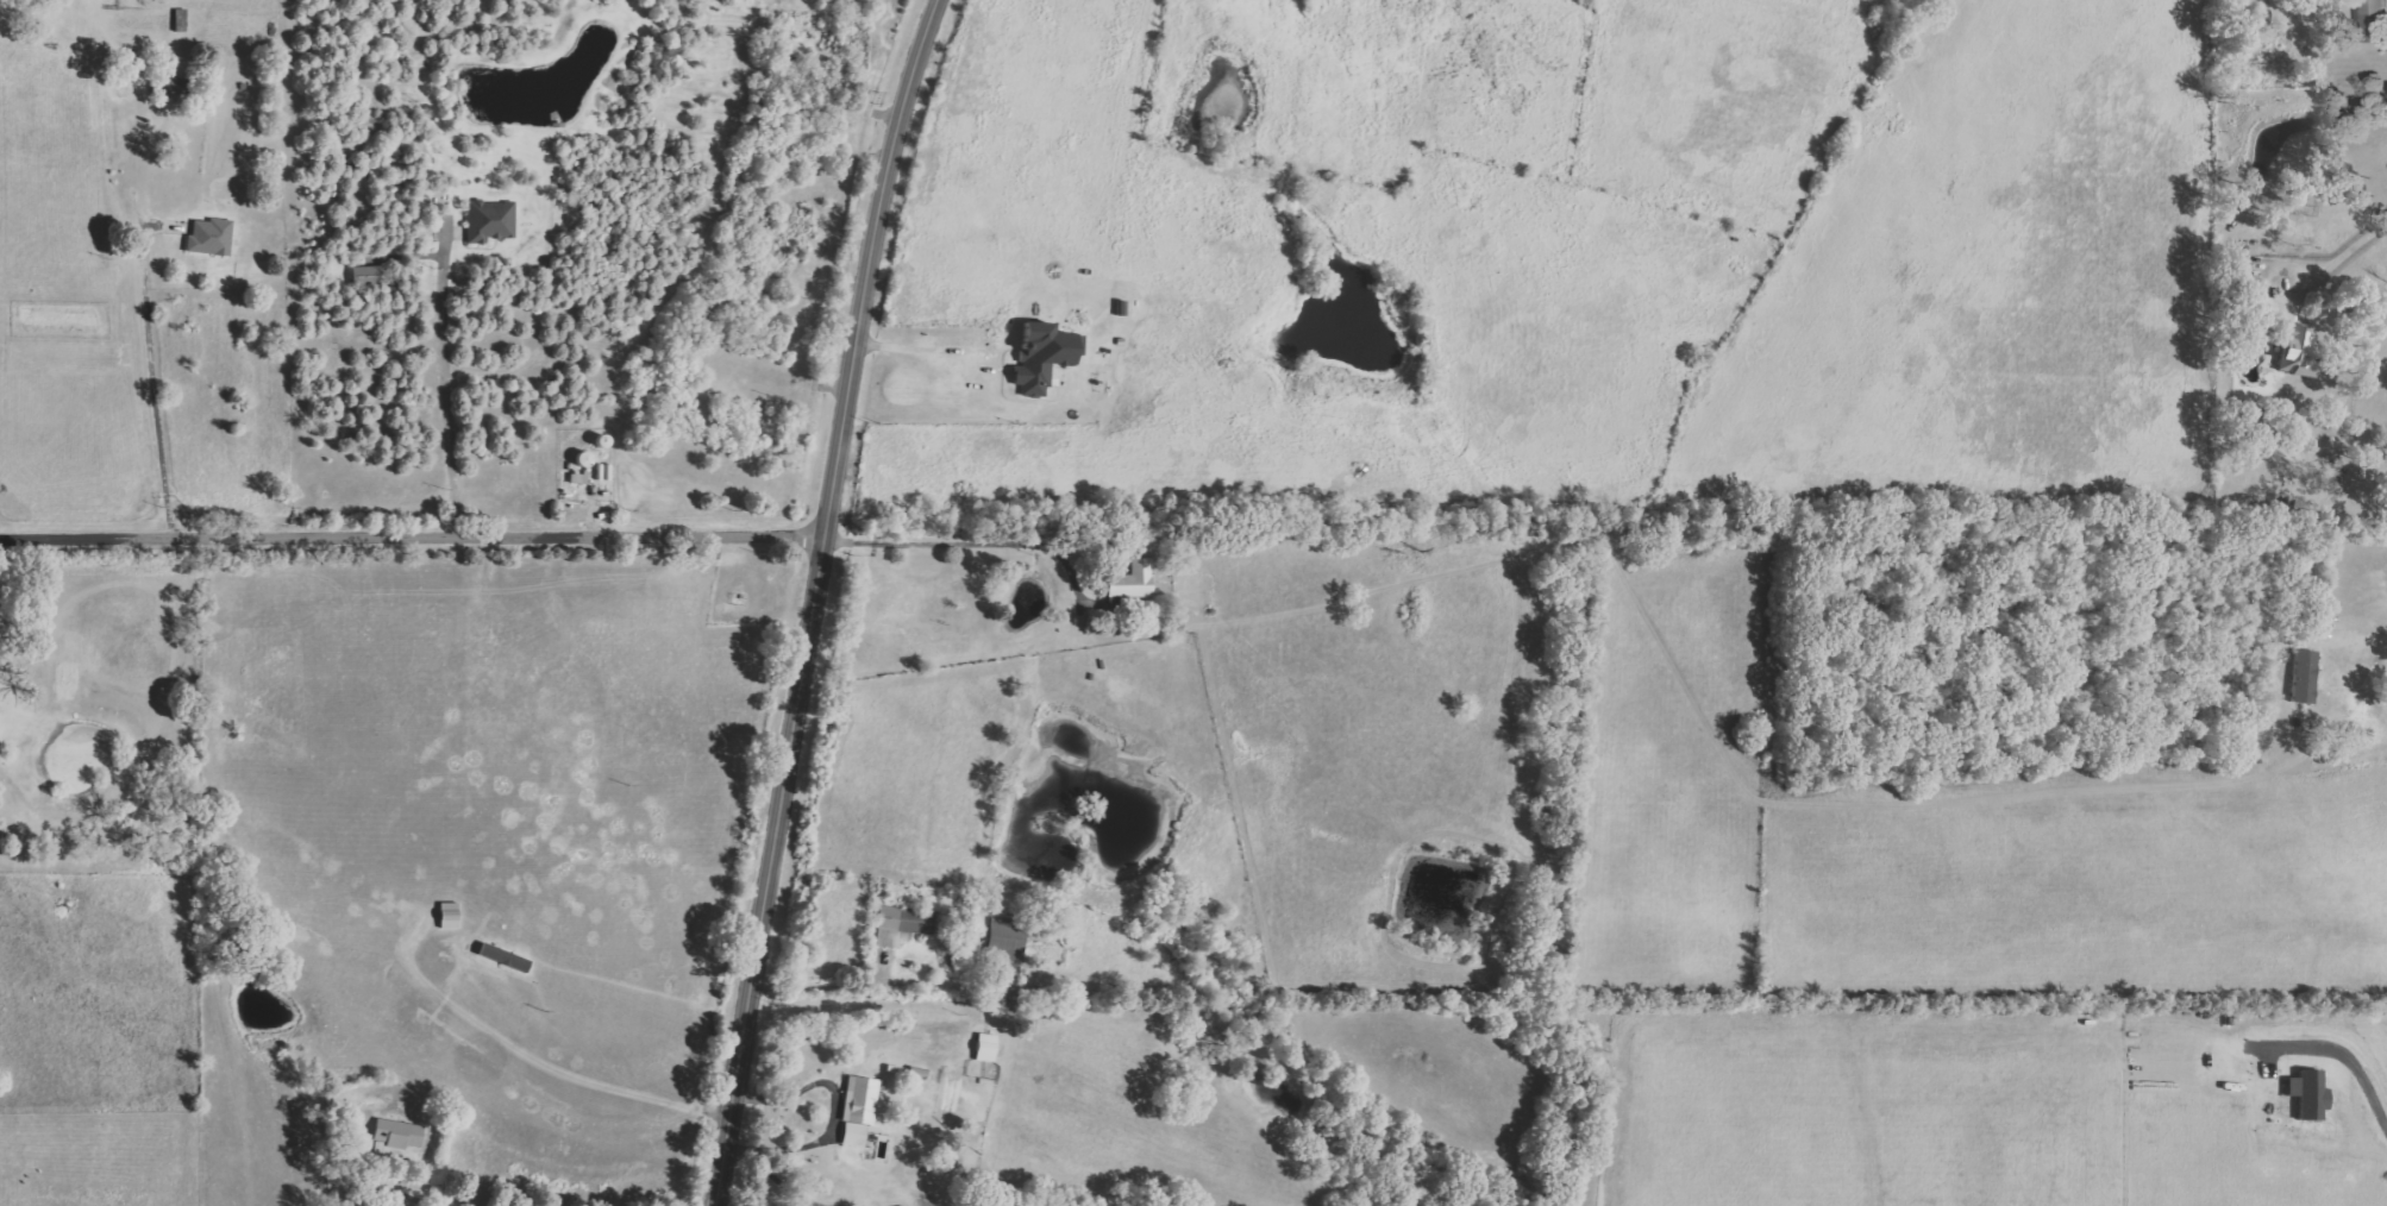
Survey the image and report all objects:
building: (182, 20)
building: (2374, 21)
building: (176, 86)
building: (491, 221)
building: (212, 237)
road: (2333, 255)
building: (369, 276)
road: (917, 341)
building: (2293, 350)
building: (1044, 358)
road: (151, 368)
road: (453, 387)
building: (581, 478)
road: (415, 533)
road: (967, 539)
building: (1135, 579)
road: (820, 598)
road: (2356, 632)
building: (2305, 676)
building: (903, 924)
building: (1004, 940)
road: (865, 982)
road: (2362, 1068)
building: (2308, 1093)
building: (859, 1110)
road: (834, 1111)
building: (399, 1132)
road: (415, 1198)

